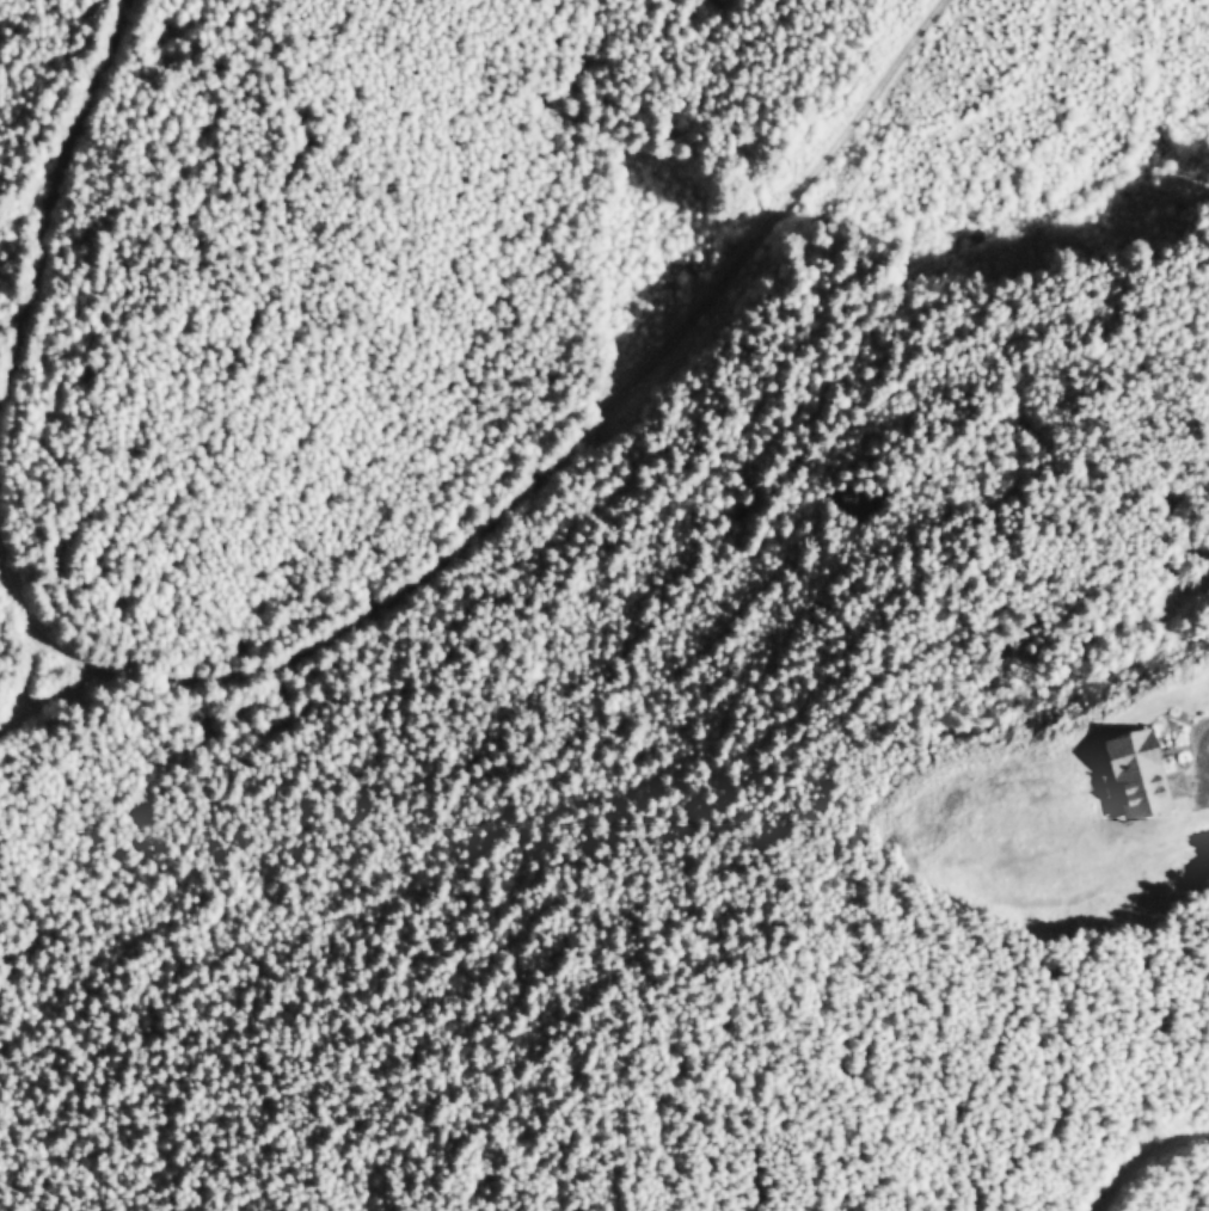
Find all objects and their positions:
road: (45, 207)
road: (524, 488)
road: (32, 682)
road: (51, 700)
road: (1195, 737)
building: (1130, 760)
road: (1154, 1162)

